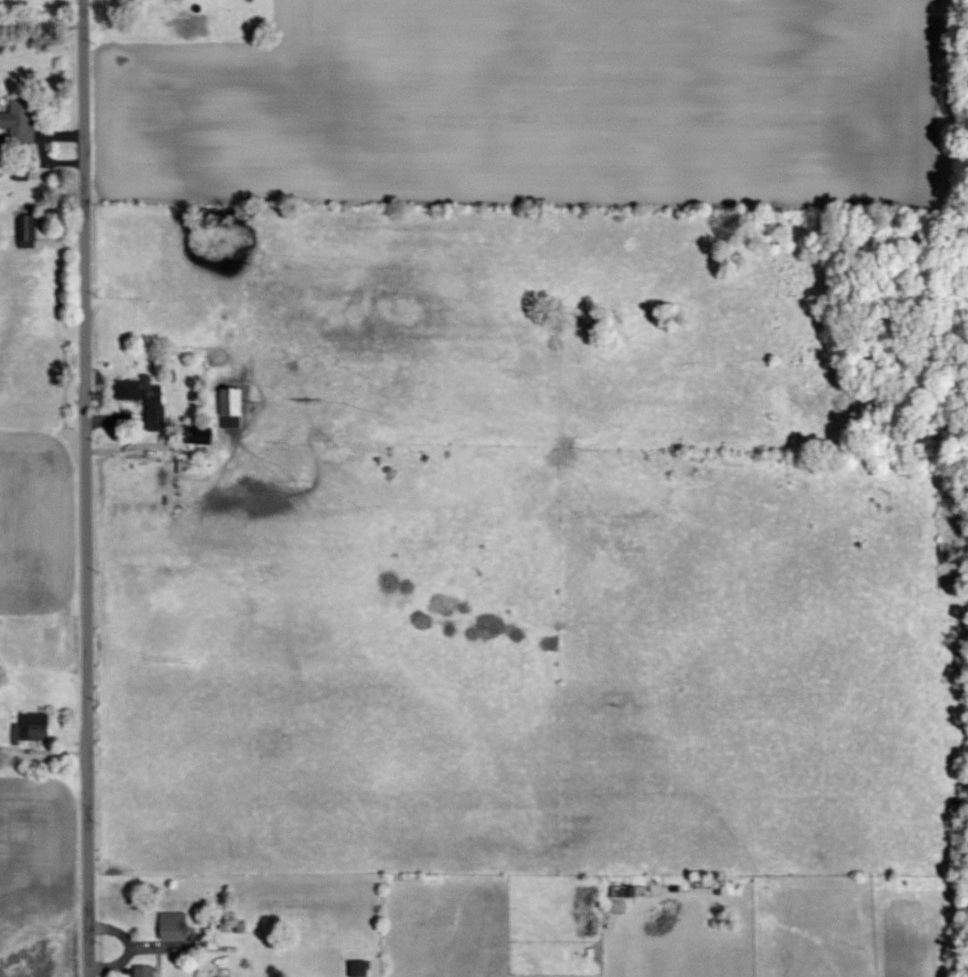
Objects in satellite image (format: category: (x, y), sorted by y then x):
building: (135, 1)
building: (16, 122)
building: (18, 176)
building: (24, 232)
building: (143, 399)
building: (227, 406)
road: (84, 488)
building: (29, 727)
building: (170, 926)
building: (355, 969)
building: (141, 971)

